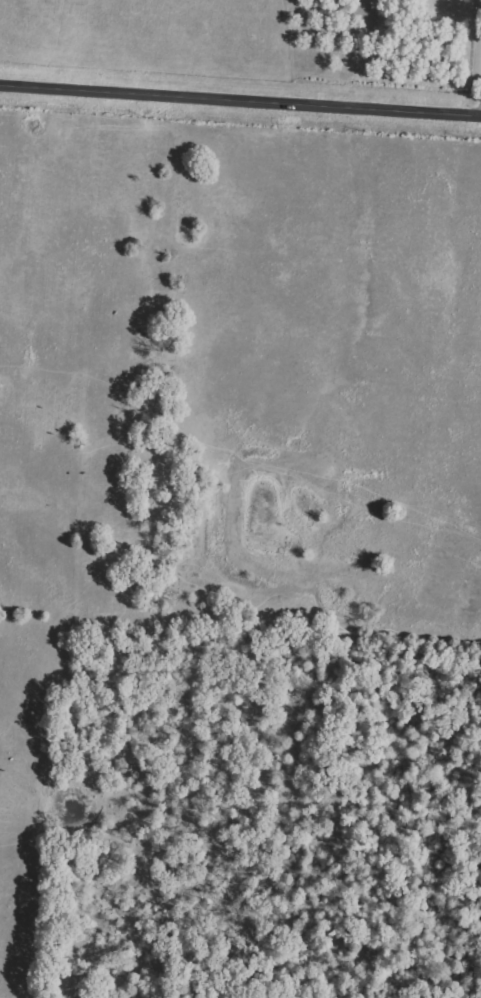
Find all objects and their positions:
road: (240, 99)

